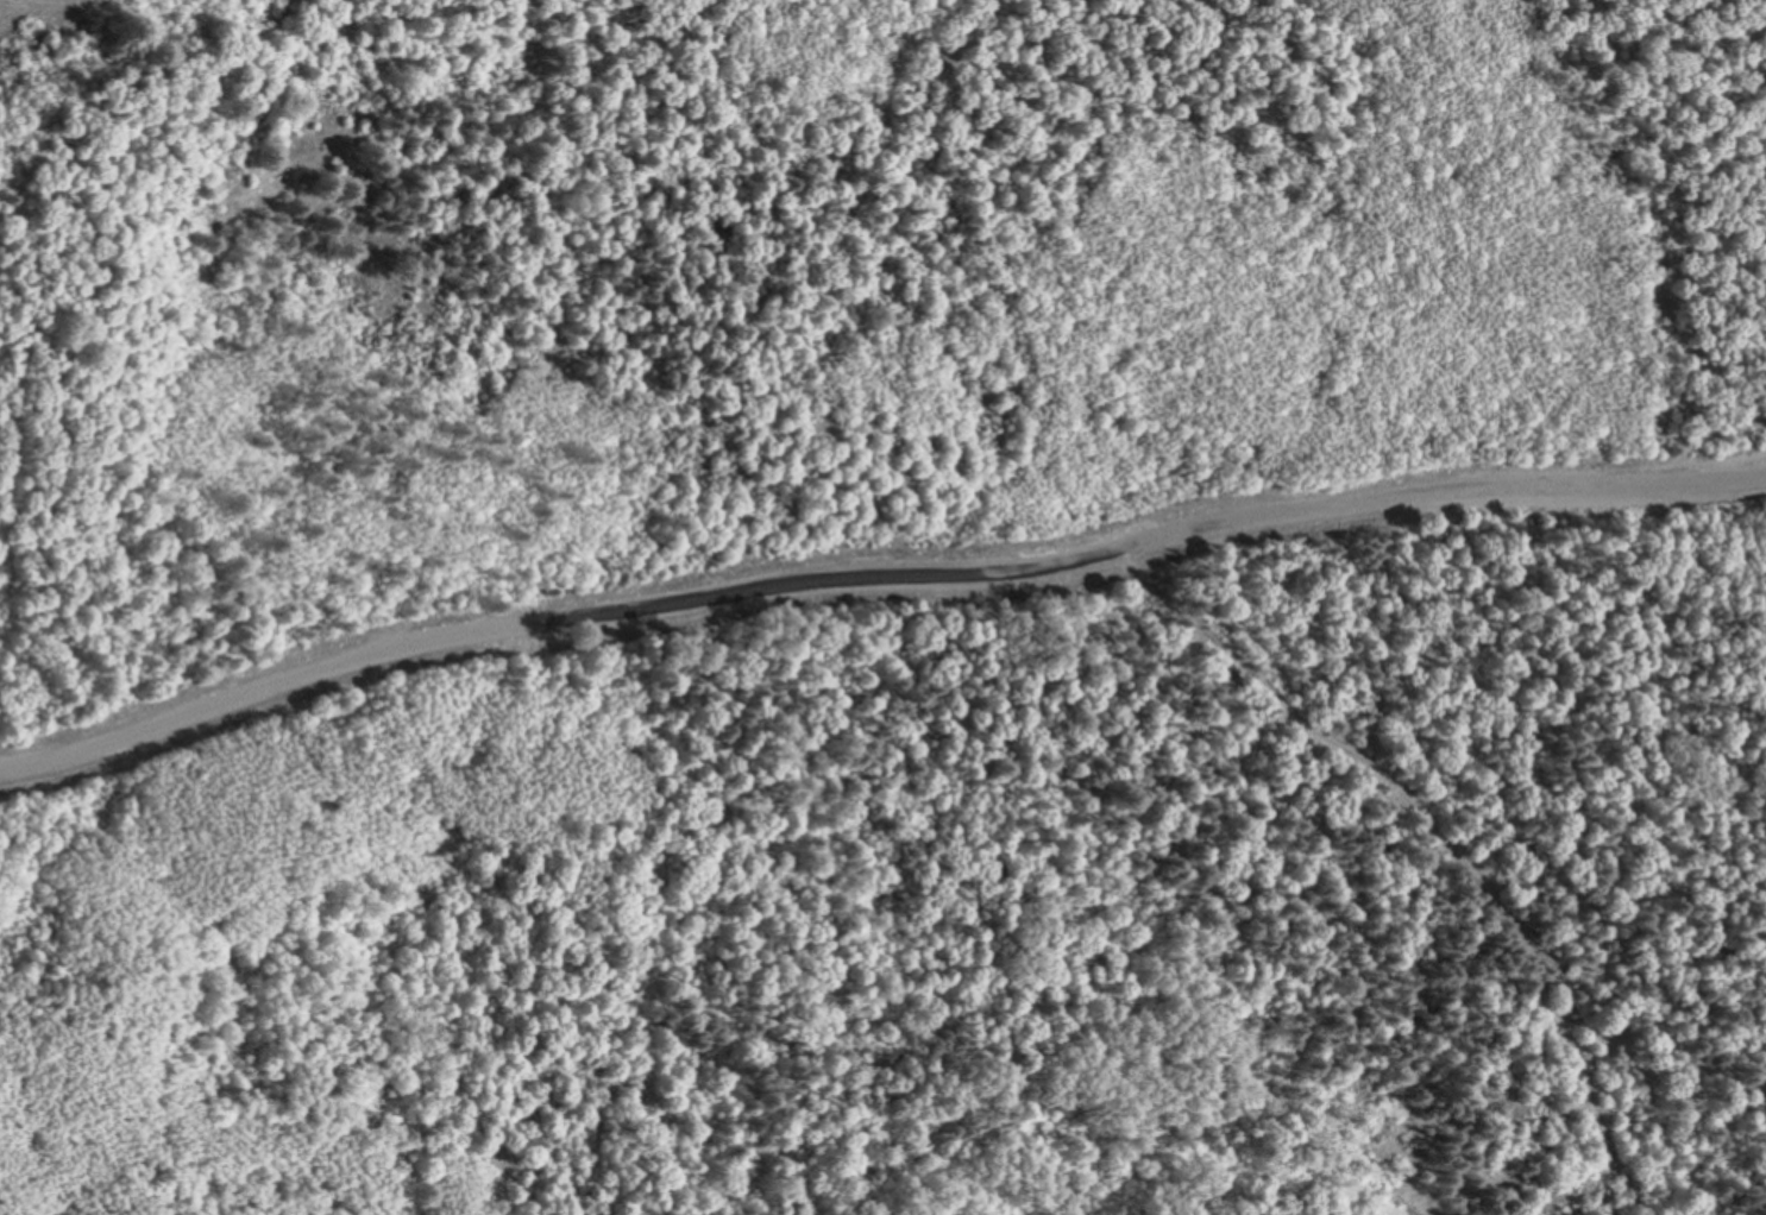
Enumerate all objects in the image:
road: (874, 578)
road: (875, 599)
road: (1434, 838)

